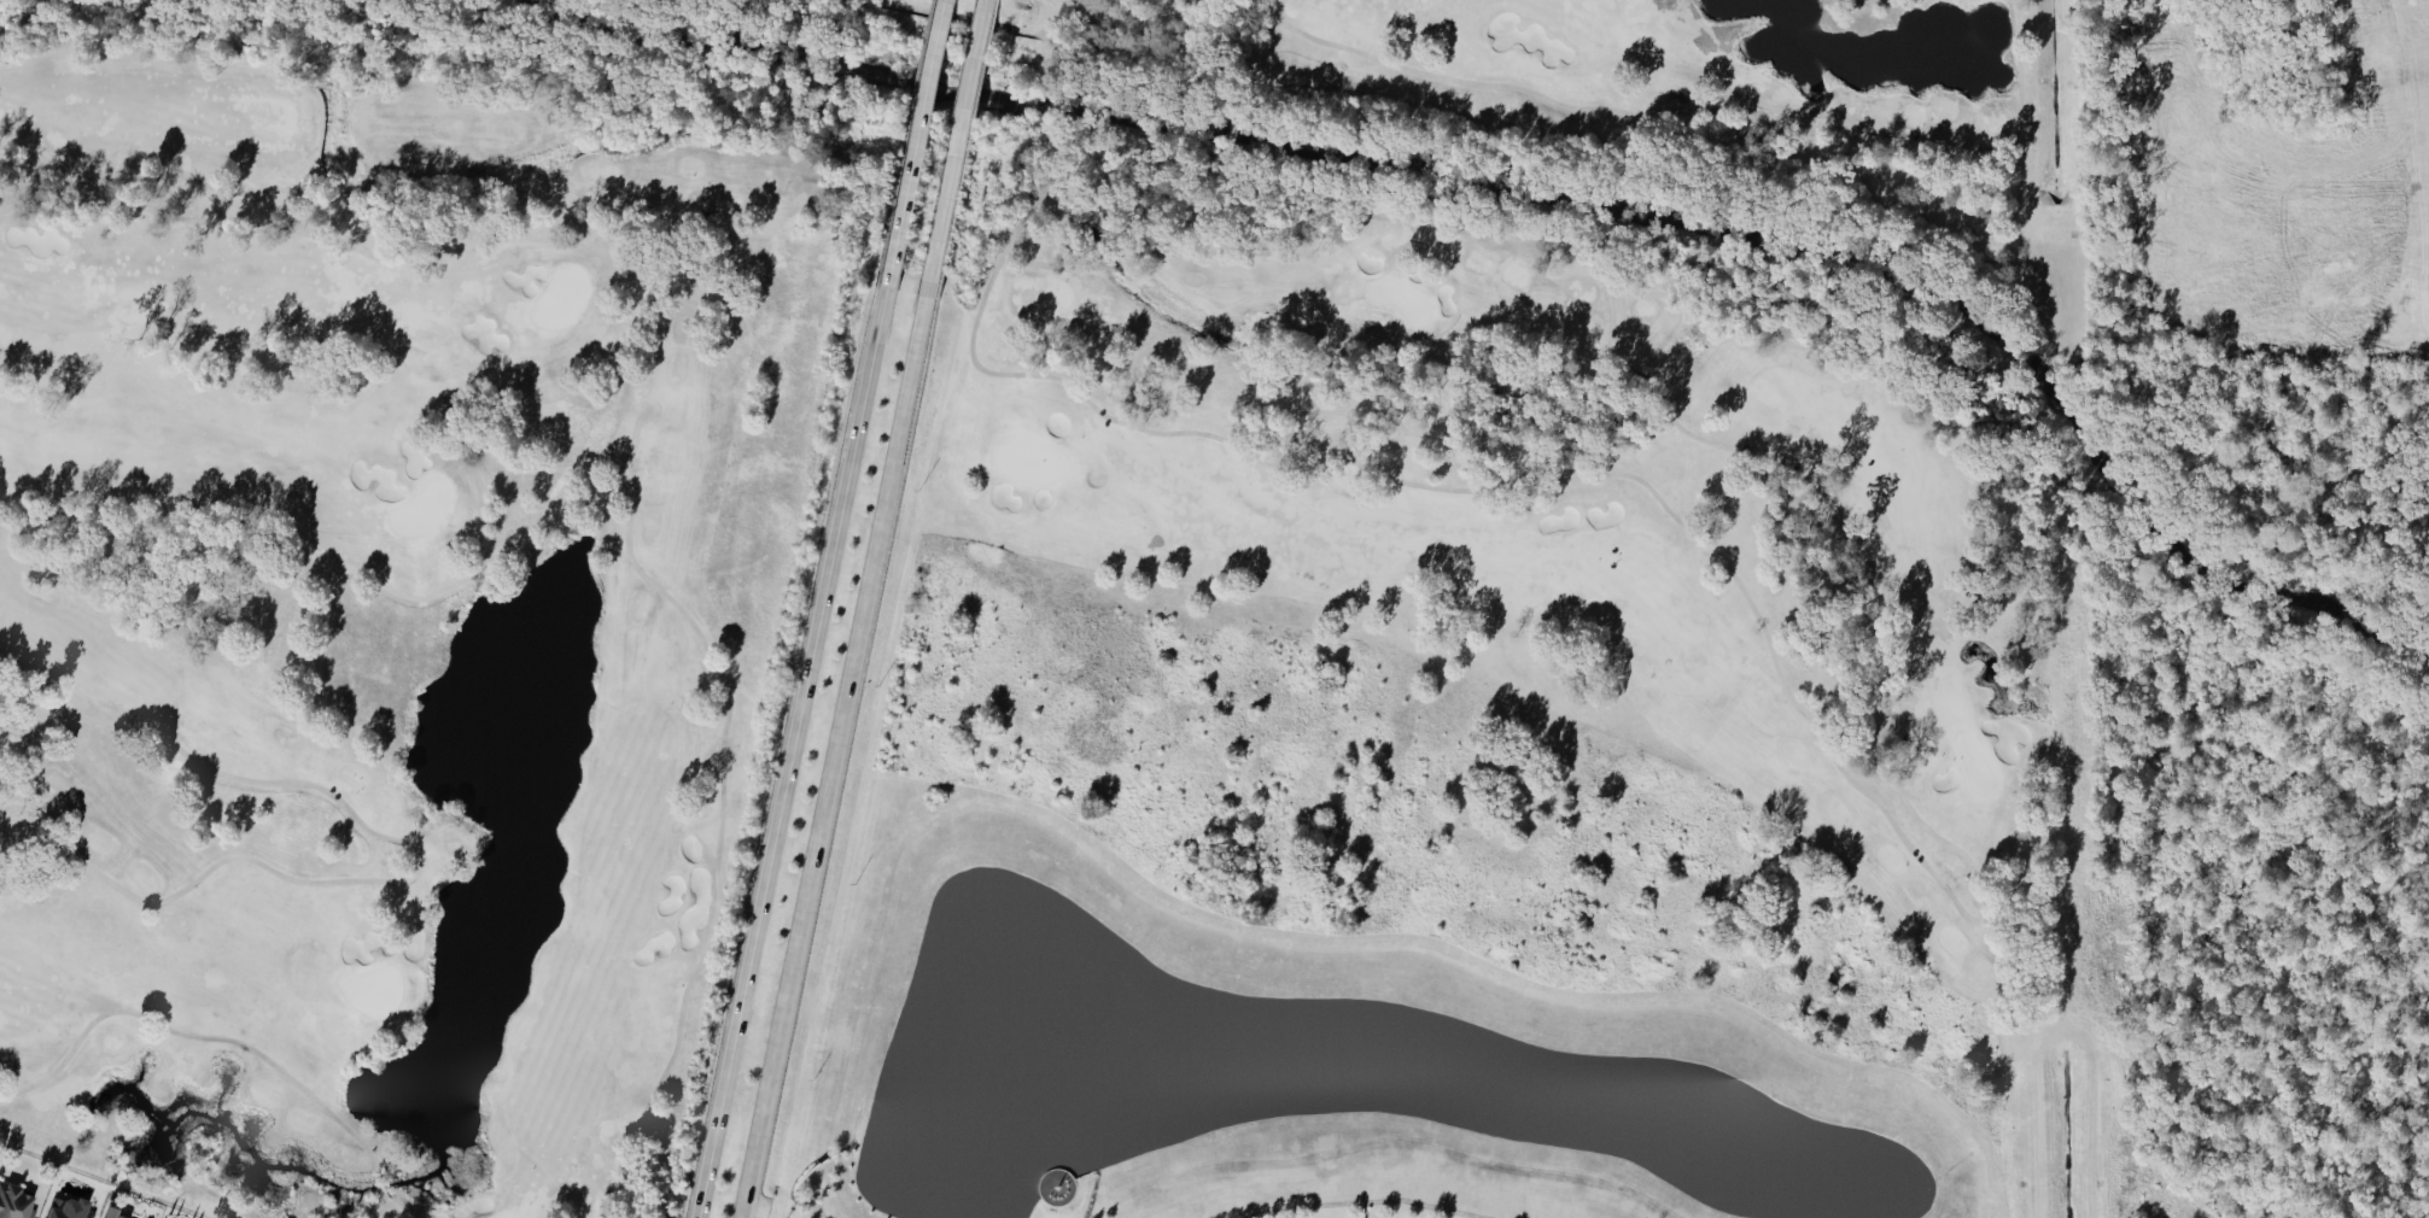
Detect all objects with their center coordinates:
road: (916, 144)
road: (956, 148)
river: (1518, 199)
park: (1547, 429)
park: (380, 609)
road: (795, 753)
road: (839, 757)
building: (13, 1202)
building: (66, 1210)
building: (110, 1213)

